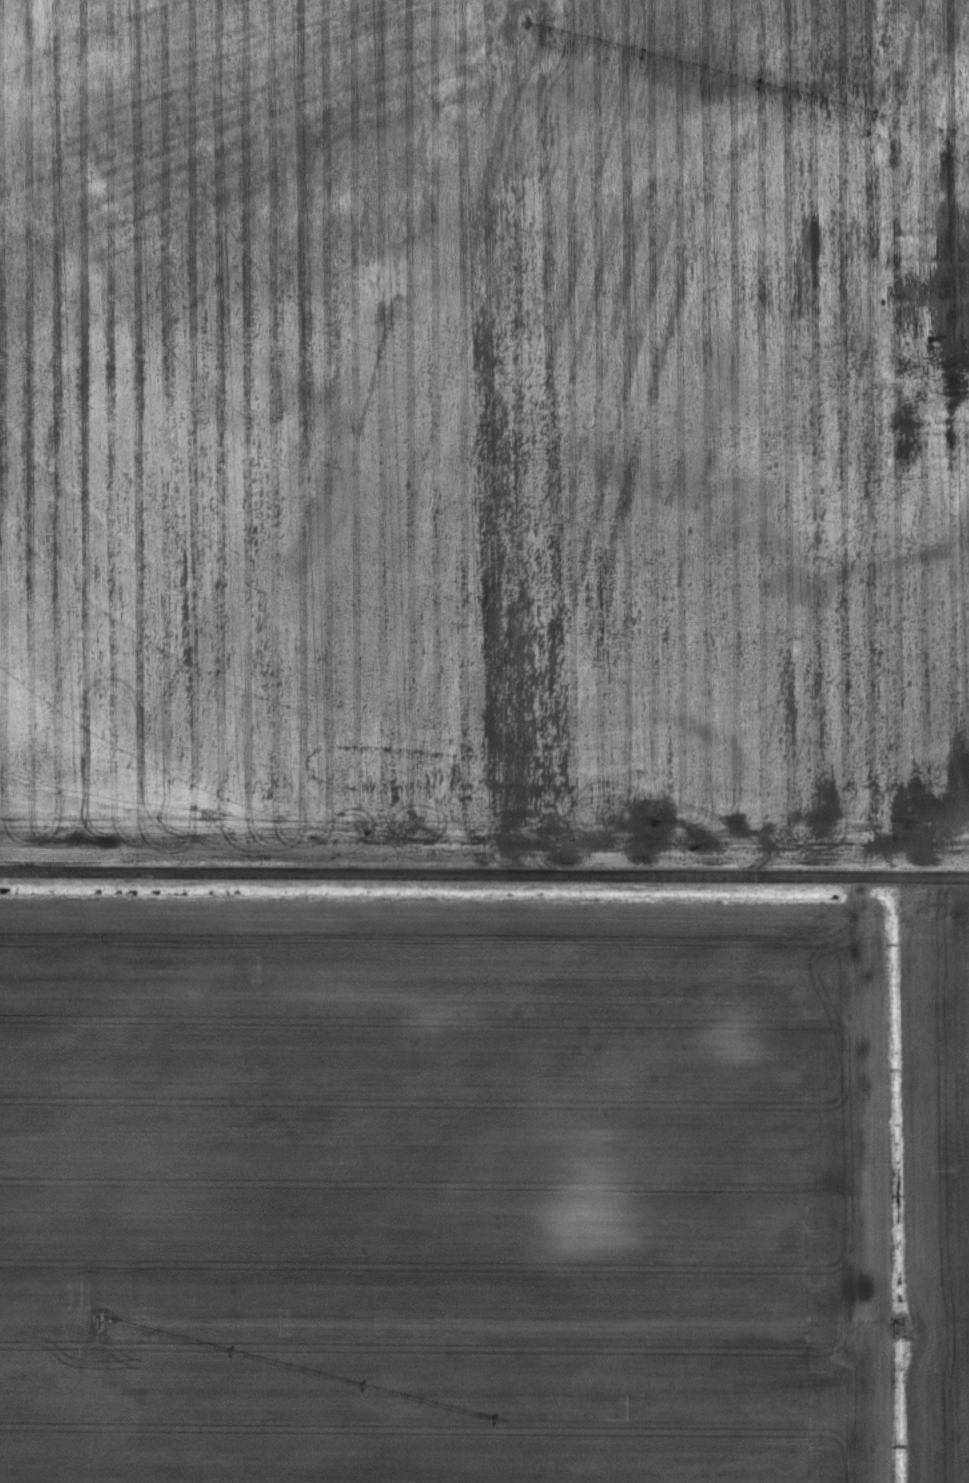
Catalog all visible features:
road: (484, 873)

